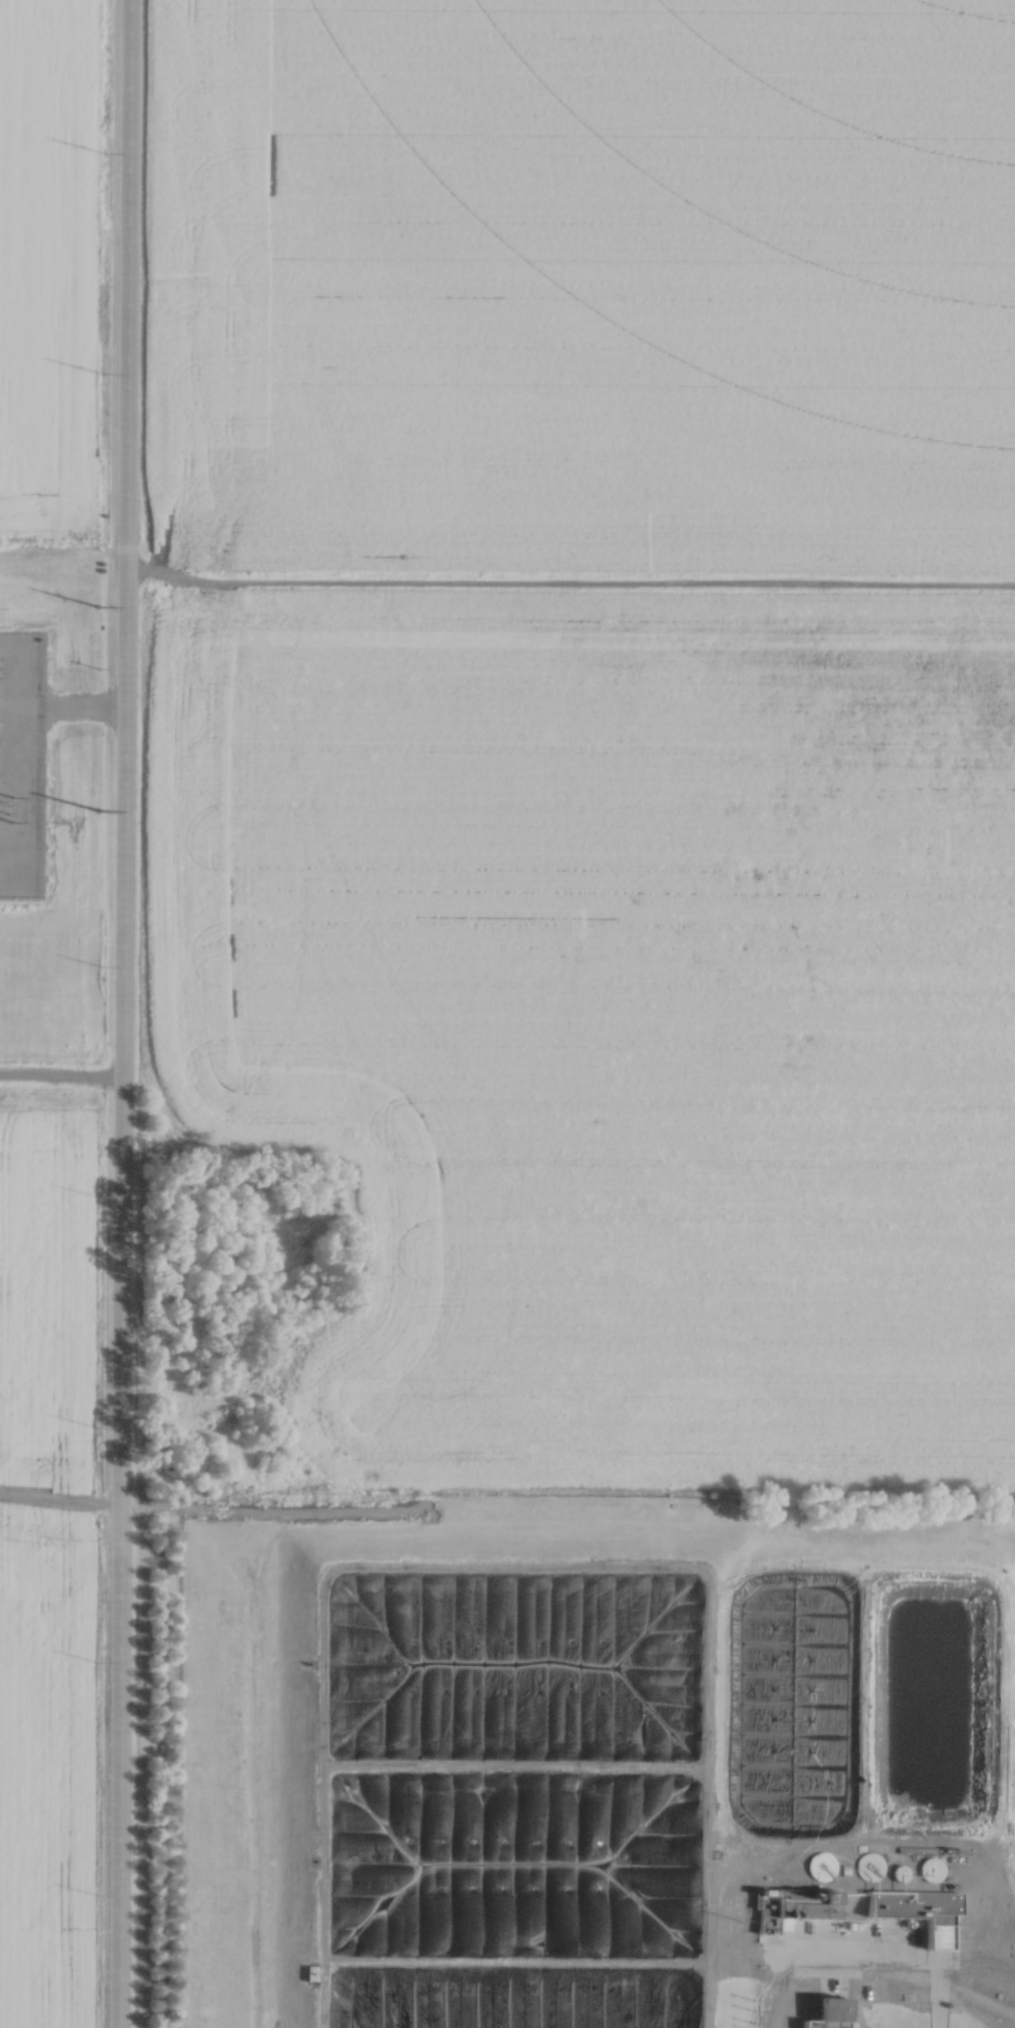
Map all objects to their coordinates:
crop: (47, 266)
crop: (580, 289)
road: (79, 702)
power substation: (20, 761)
crop: (609, 1007)
road: (115, 1013)
road: (57, 1075)
road: (57, 1501)
road: (507, 1564)
crop: (44, 1571)
wastewater plant: (584, 1755)
building: (914, 1899)
road: (865, 1956)
building: (828, 2012)

